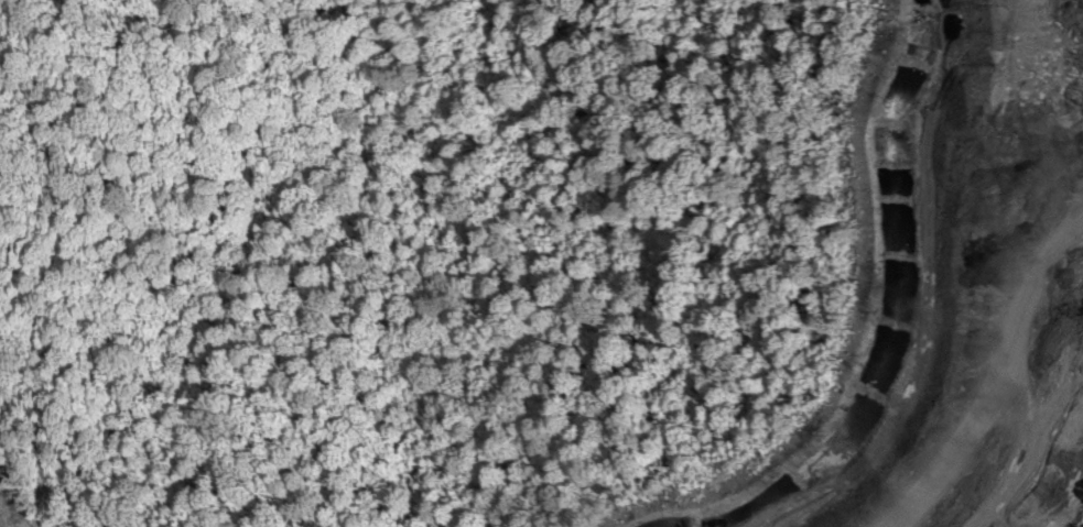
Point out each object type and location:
quarry: (898, 304)
quarry: (30, 492)

